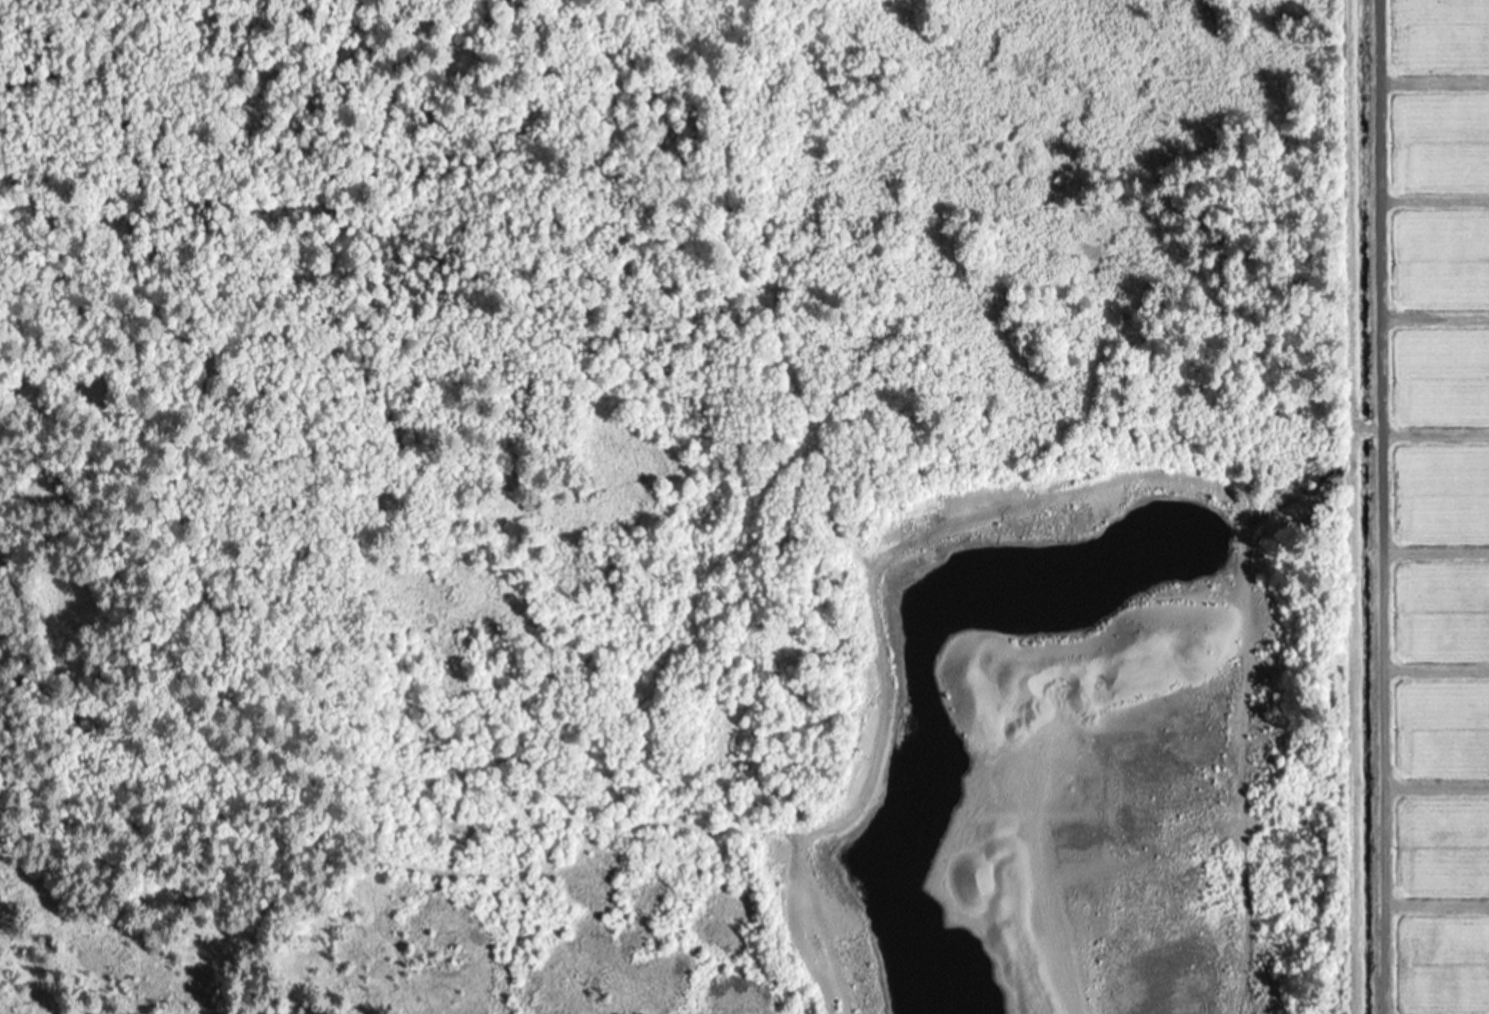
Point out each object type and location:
crop: (1419, 502)

